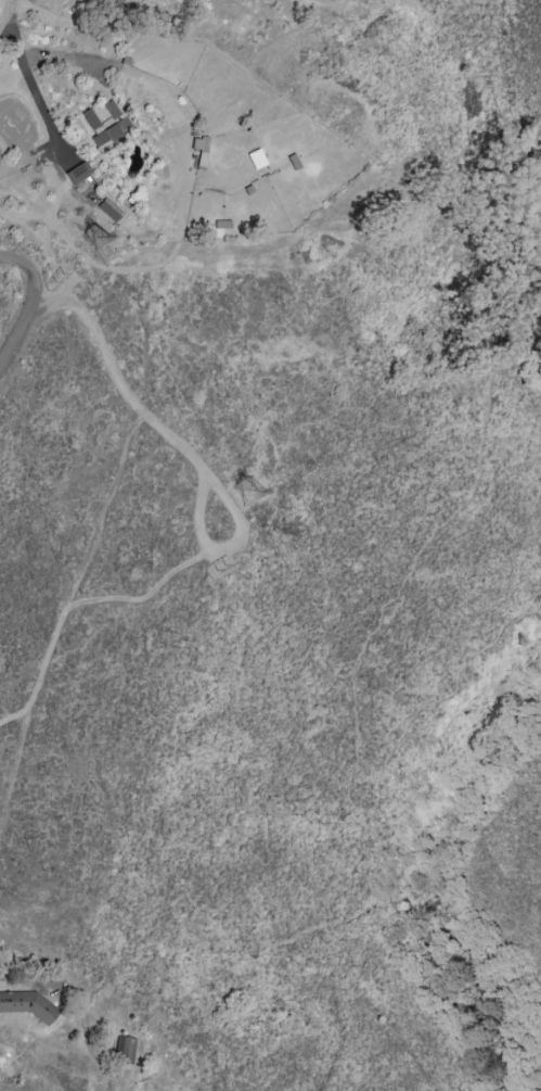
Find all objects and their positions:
road: (8, 17)
road: (29, 79)
building: (104, 123)
building: (77, 174)
building: (107, 211)
power tower: (98, 237)
power tower: (53, 280)
road: (30, 301)
power tower: (249, 492)
road: (107, 507)
road: (239, 536)
power tower: (217, 567)
road: (398, 593)
road: (415, 711)
building: (27, 1005)
road: (89, 1037)
building: (125, 1050)

